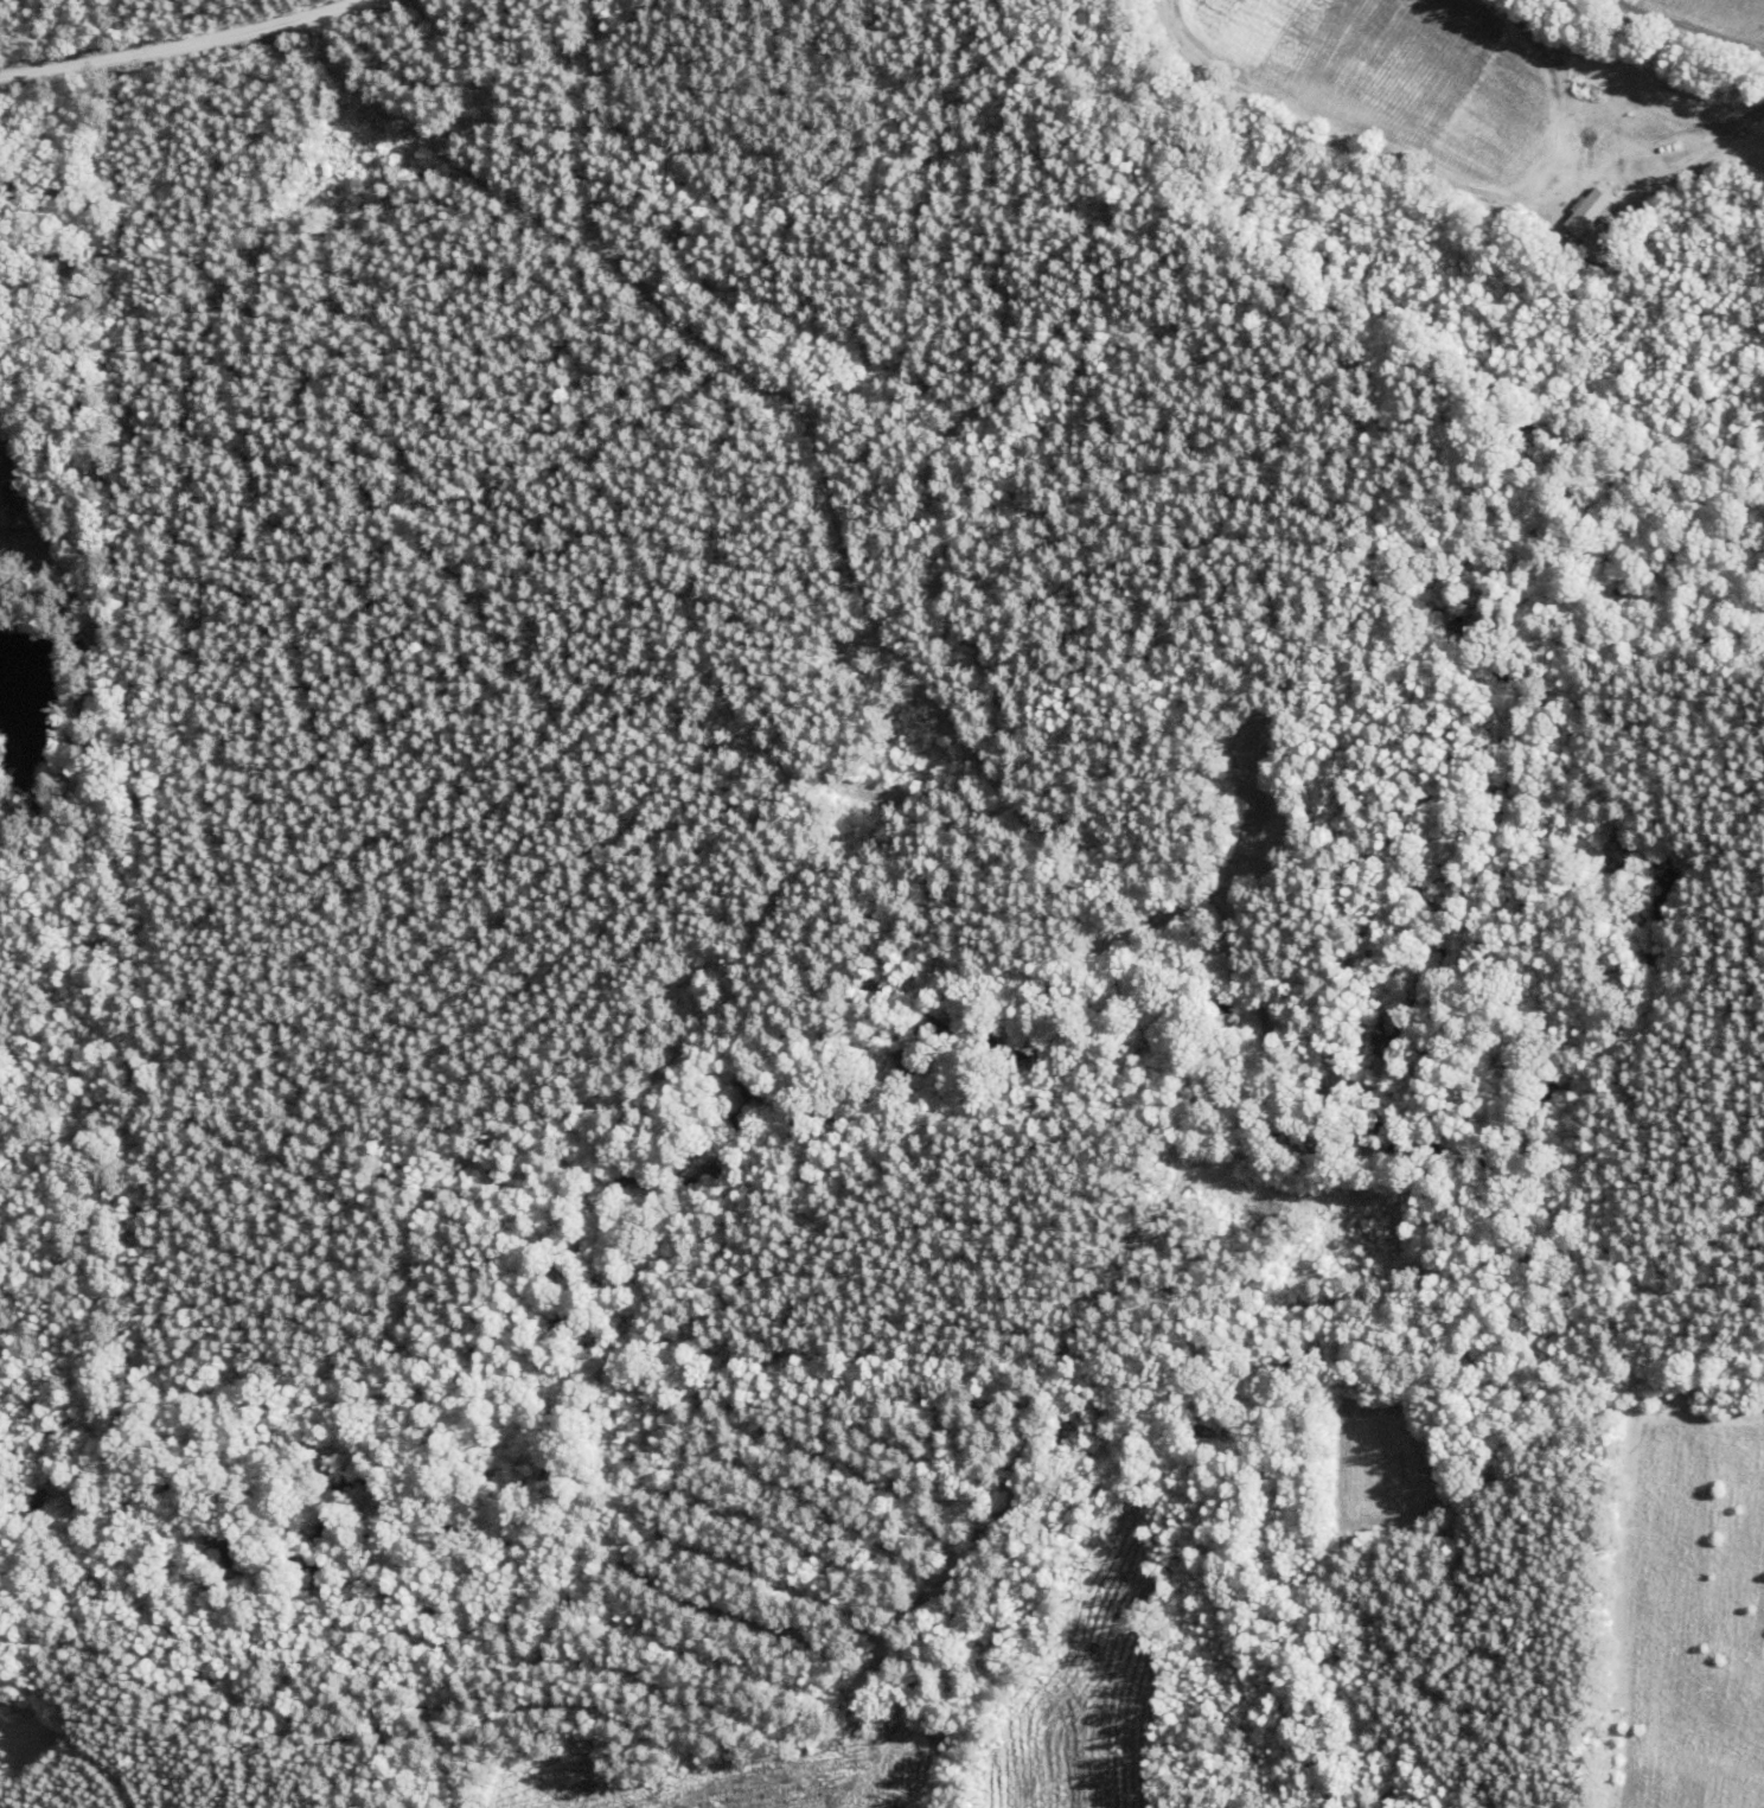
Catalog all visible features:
road: (186, 44)

